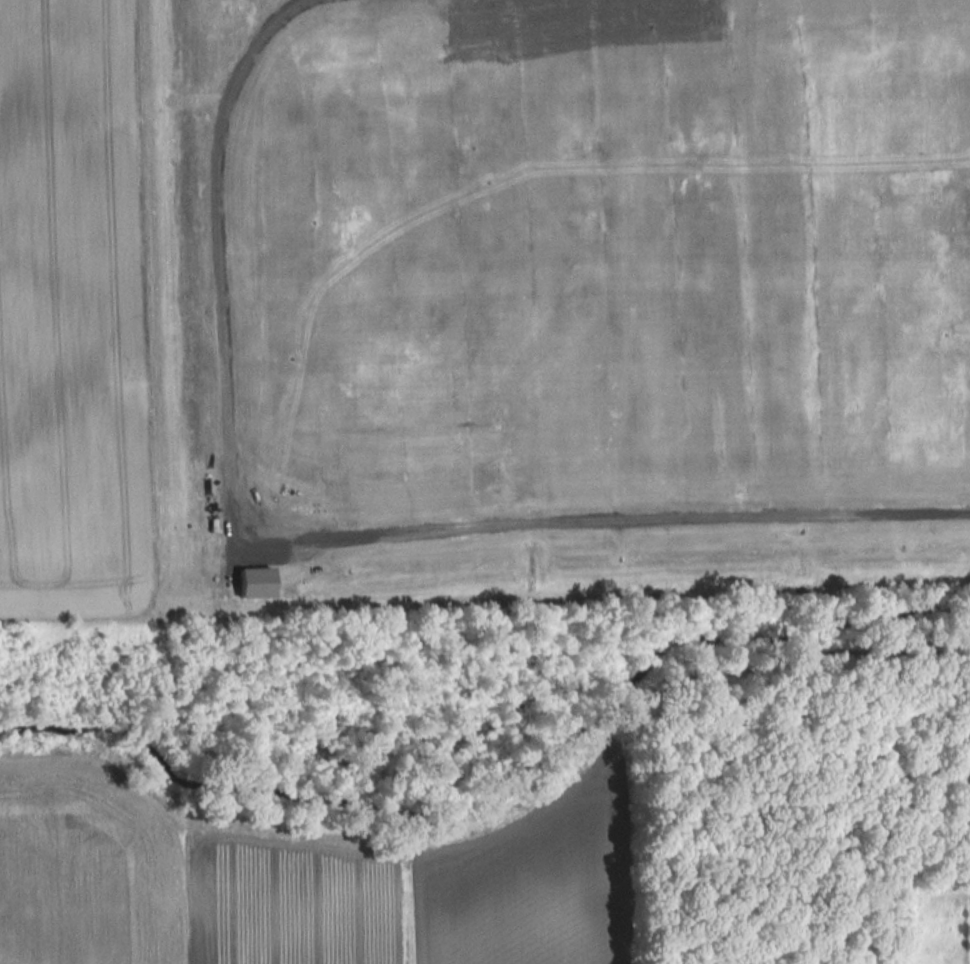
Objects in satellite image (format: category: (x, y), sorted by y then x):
crop: (70, 315)
road: (327, 541)
building: (256, 583)
crop: (298, 882)

